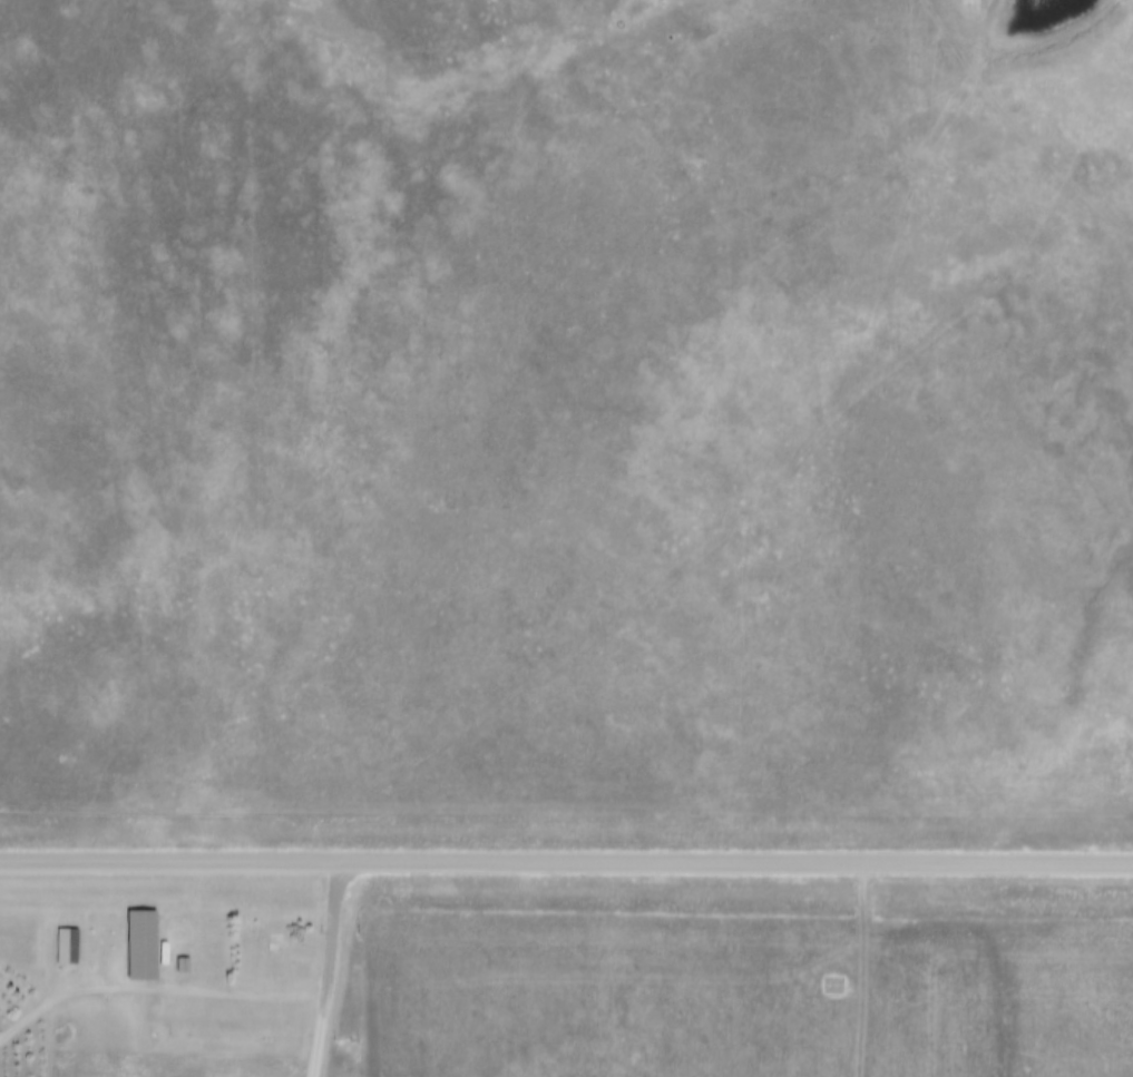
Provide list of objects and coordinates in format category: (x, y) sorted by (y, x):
road: (1015, 130)
road: (566, 863)
building: (145, 918)
building: (281, 931)
building: (69, 936)
road: (331, 971)
road: (244, 995)
road: (64, 998)

